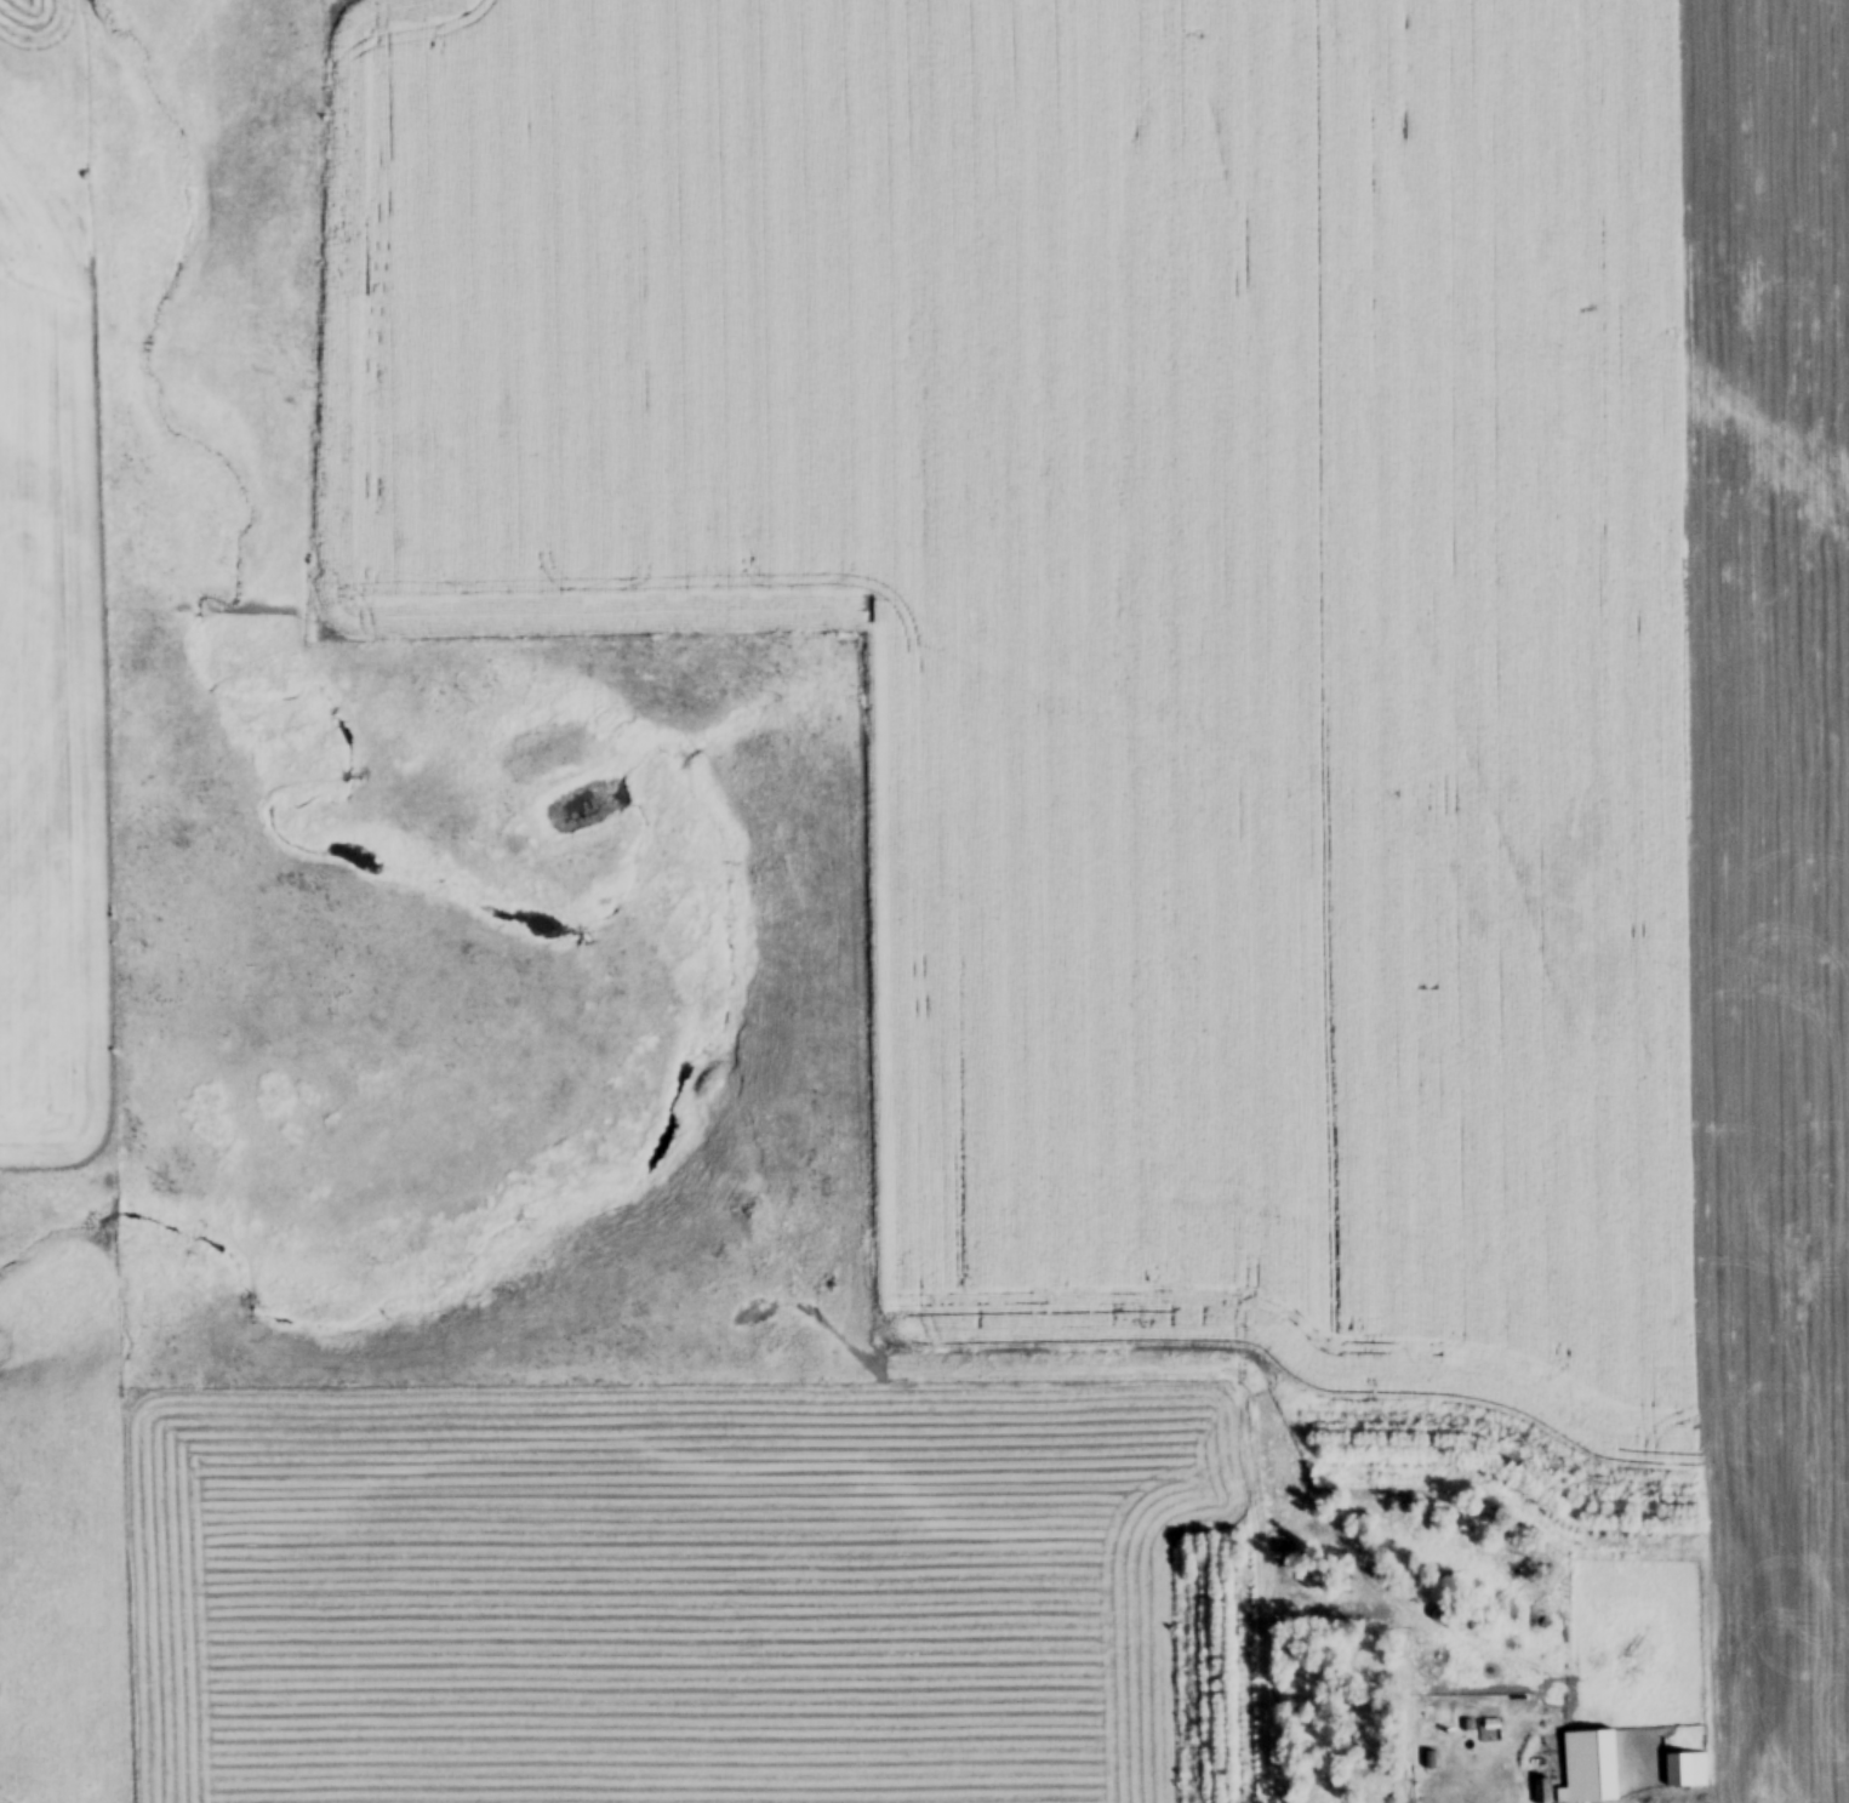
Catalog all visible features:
building: (1591, 1768)
building: (1685, 1774)

